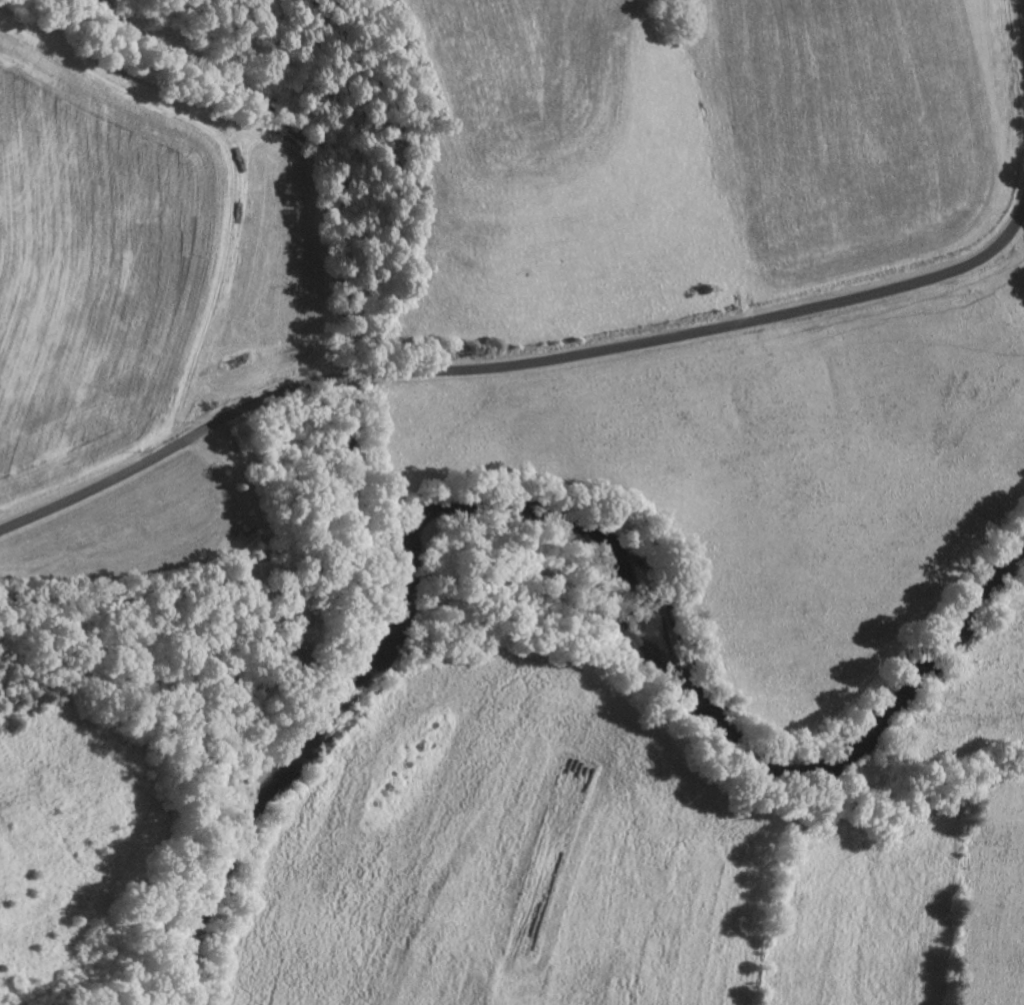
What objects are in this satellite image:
road: (1021, 21)
road: (514, 364)
road: (246, 488)

